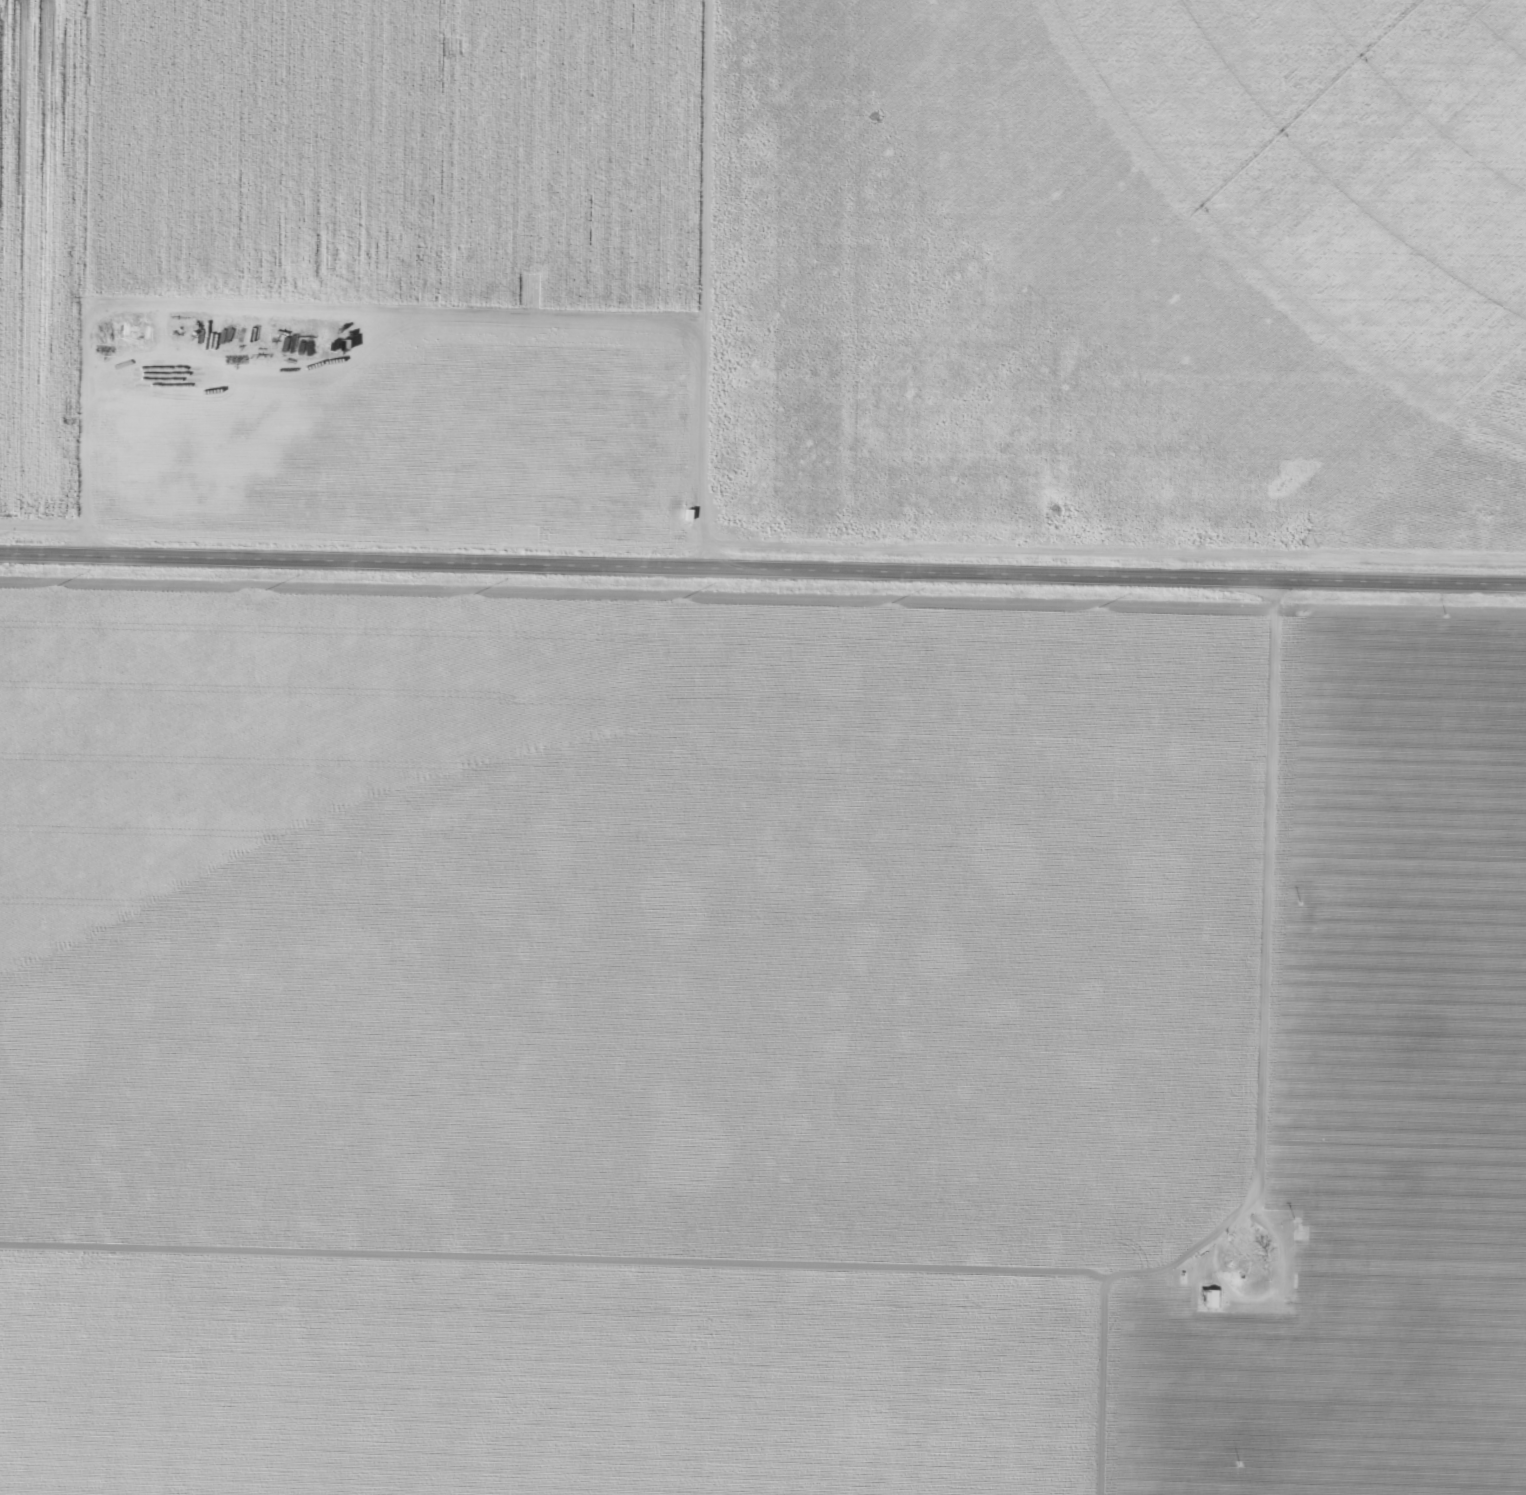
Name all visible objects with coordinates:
road: (763, 574)
road: (1247, 919)

